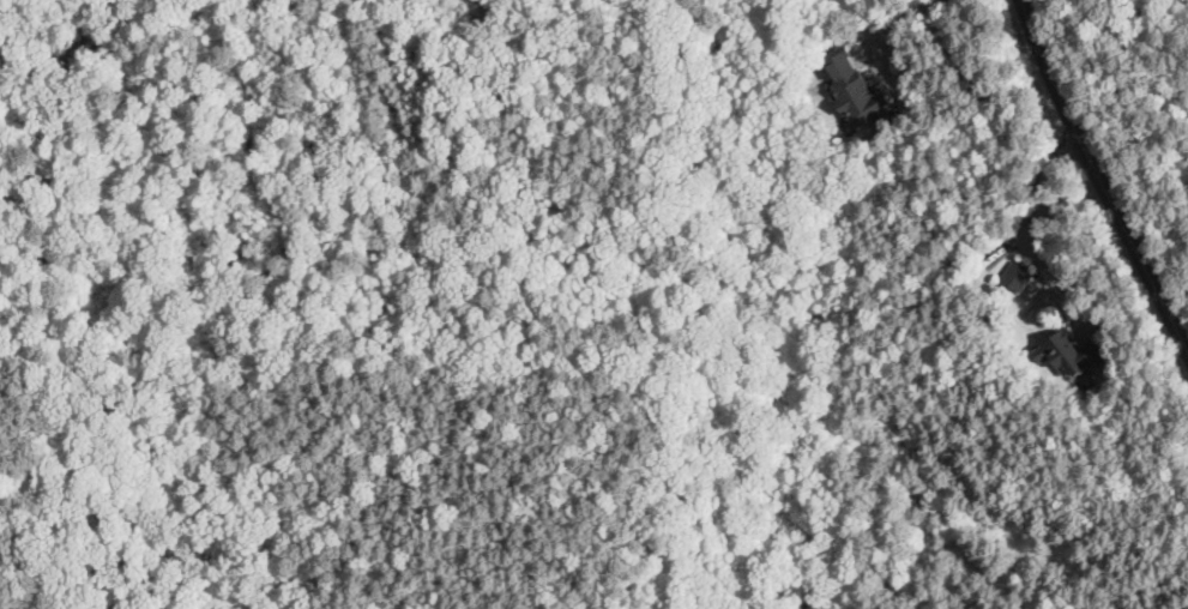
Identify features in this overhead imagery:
road: (903, 23)
building: (855, 89)
park: (1134, 110)
road: (1100, 176)
road: (1038, 237)
building: (1018, 275)
road: (1033, 285)
road: (1036, 316)
building: (1072, 352)

